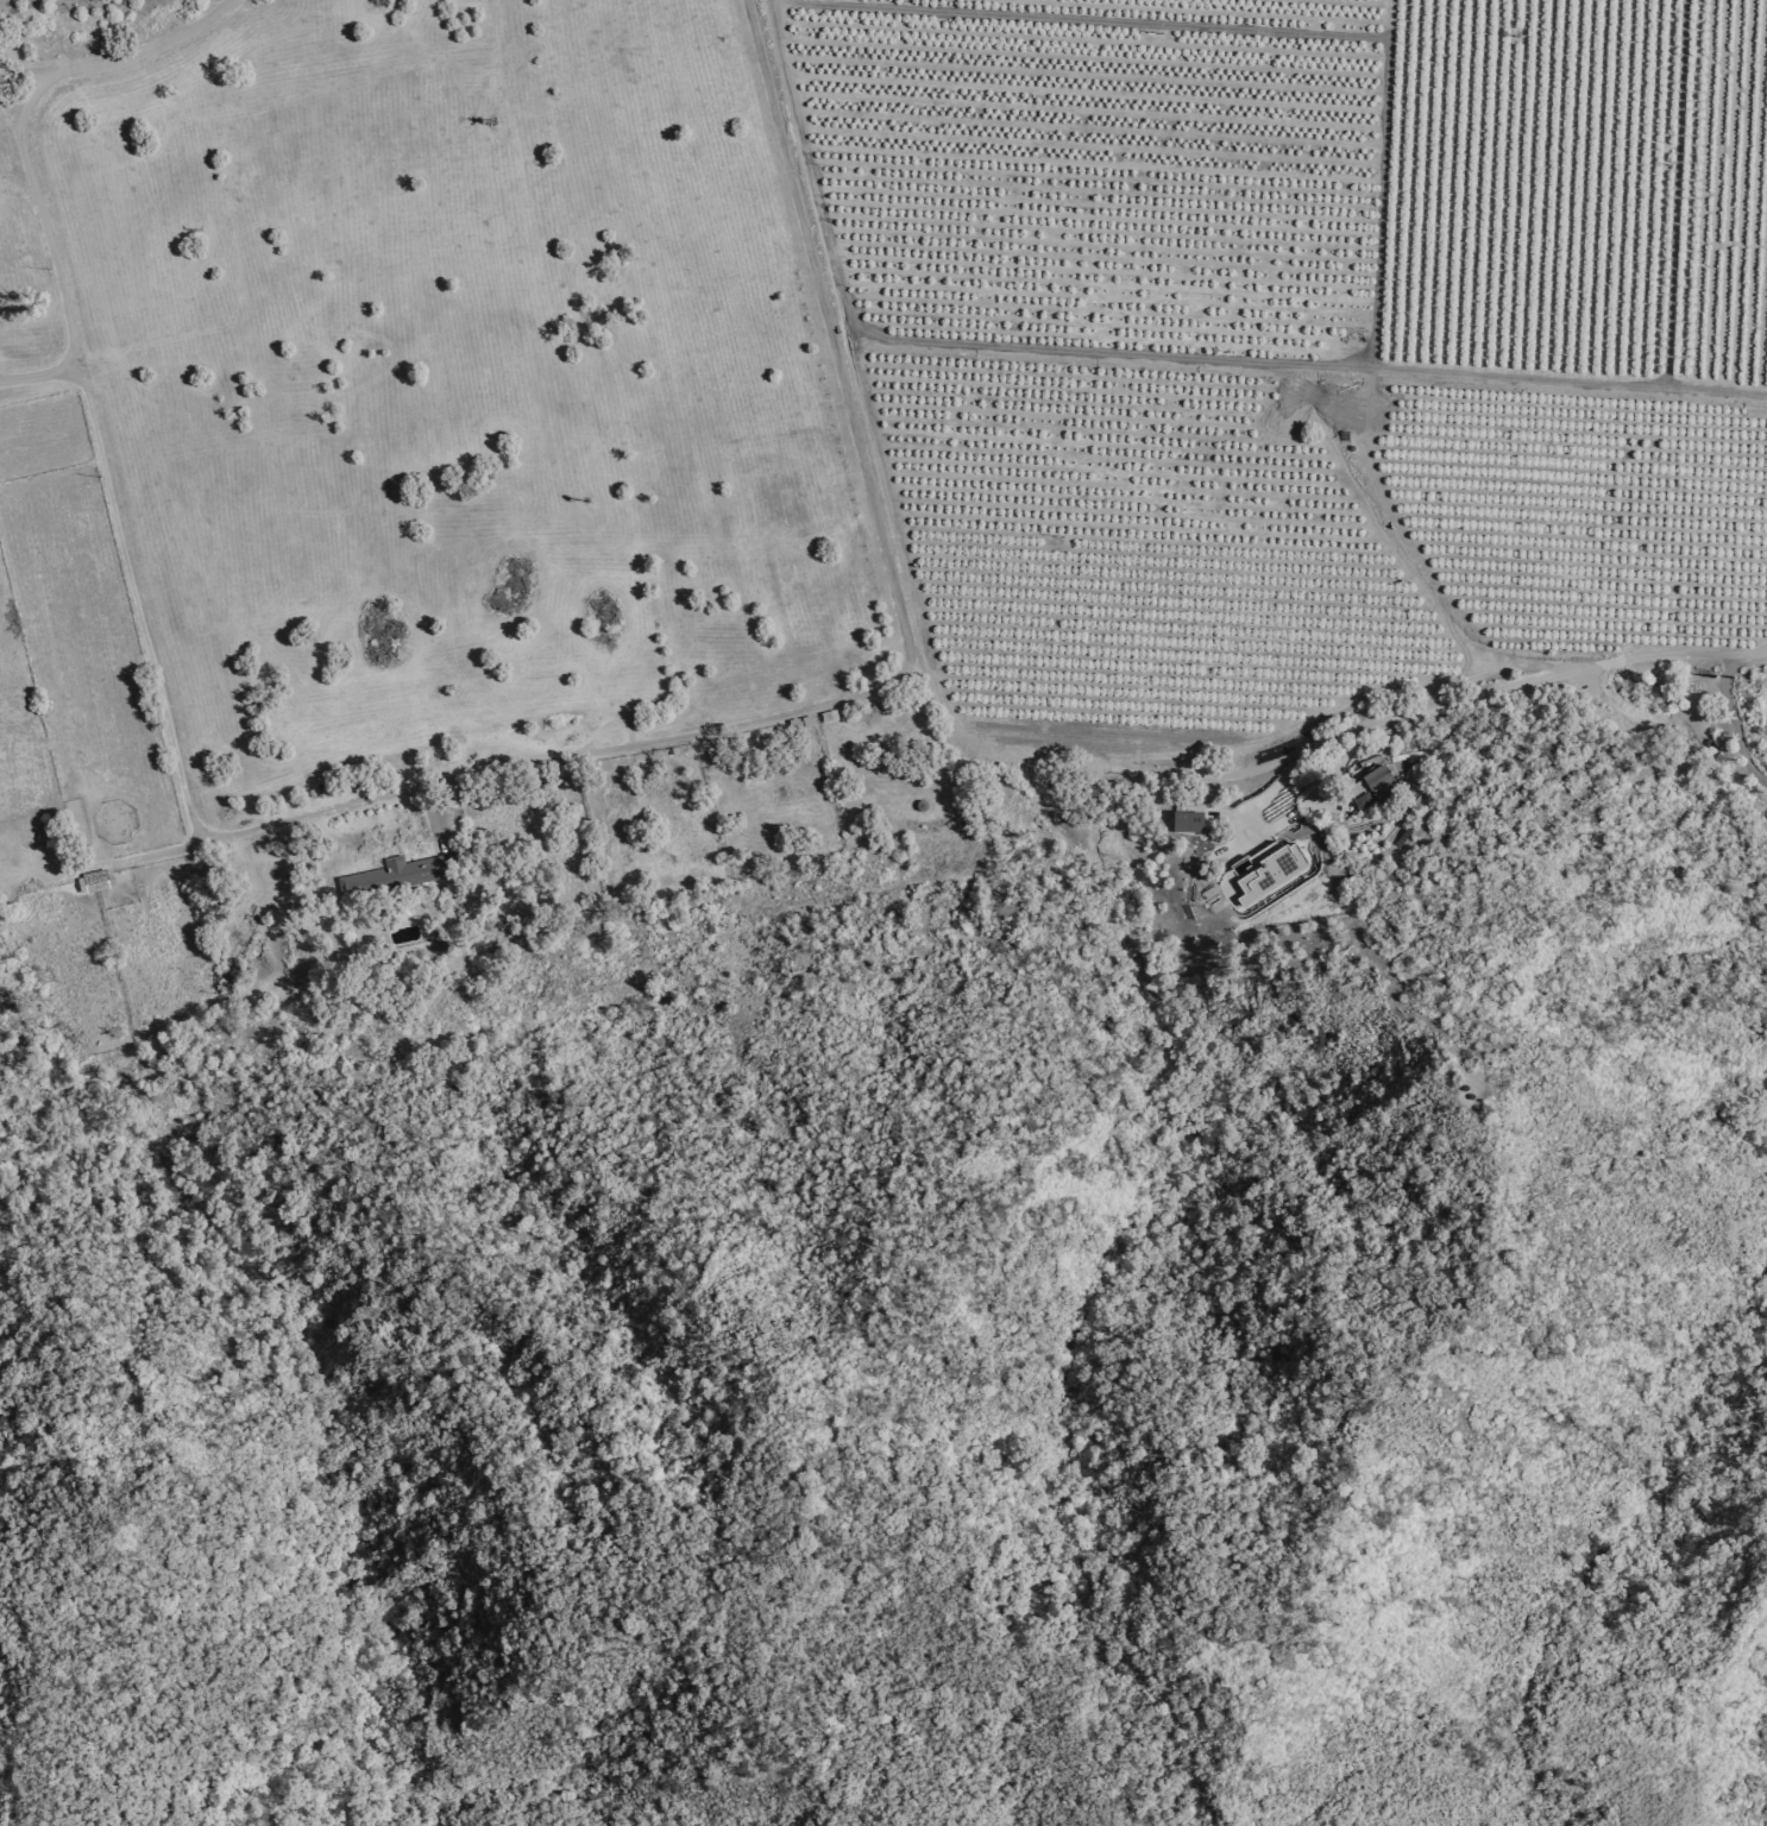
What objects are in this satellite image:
road: (8, 113)
road: (830, 323)
road: (38, 372)
road: (1579, 667)
road: (165, 718)
road: (1733, 724)
building: (1378, 781)
building: (1362, 801)
building: (1184, 821)
road: (1245, 825)
road: (152, 854)
building: (1259, 875)
building: (397, 876)

